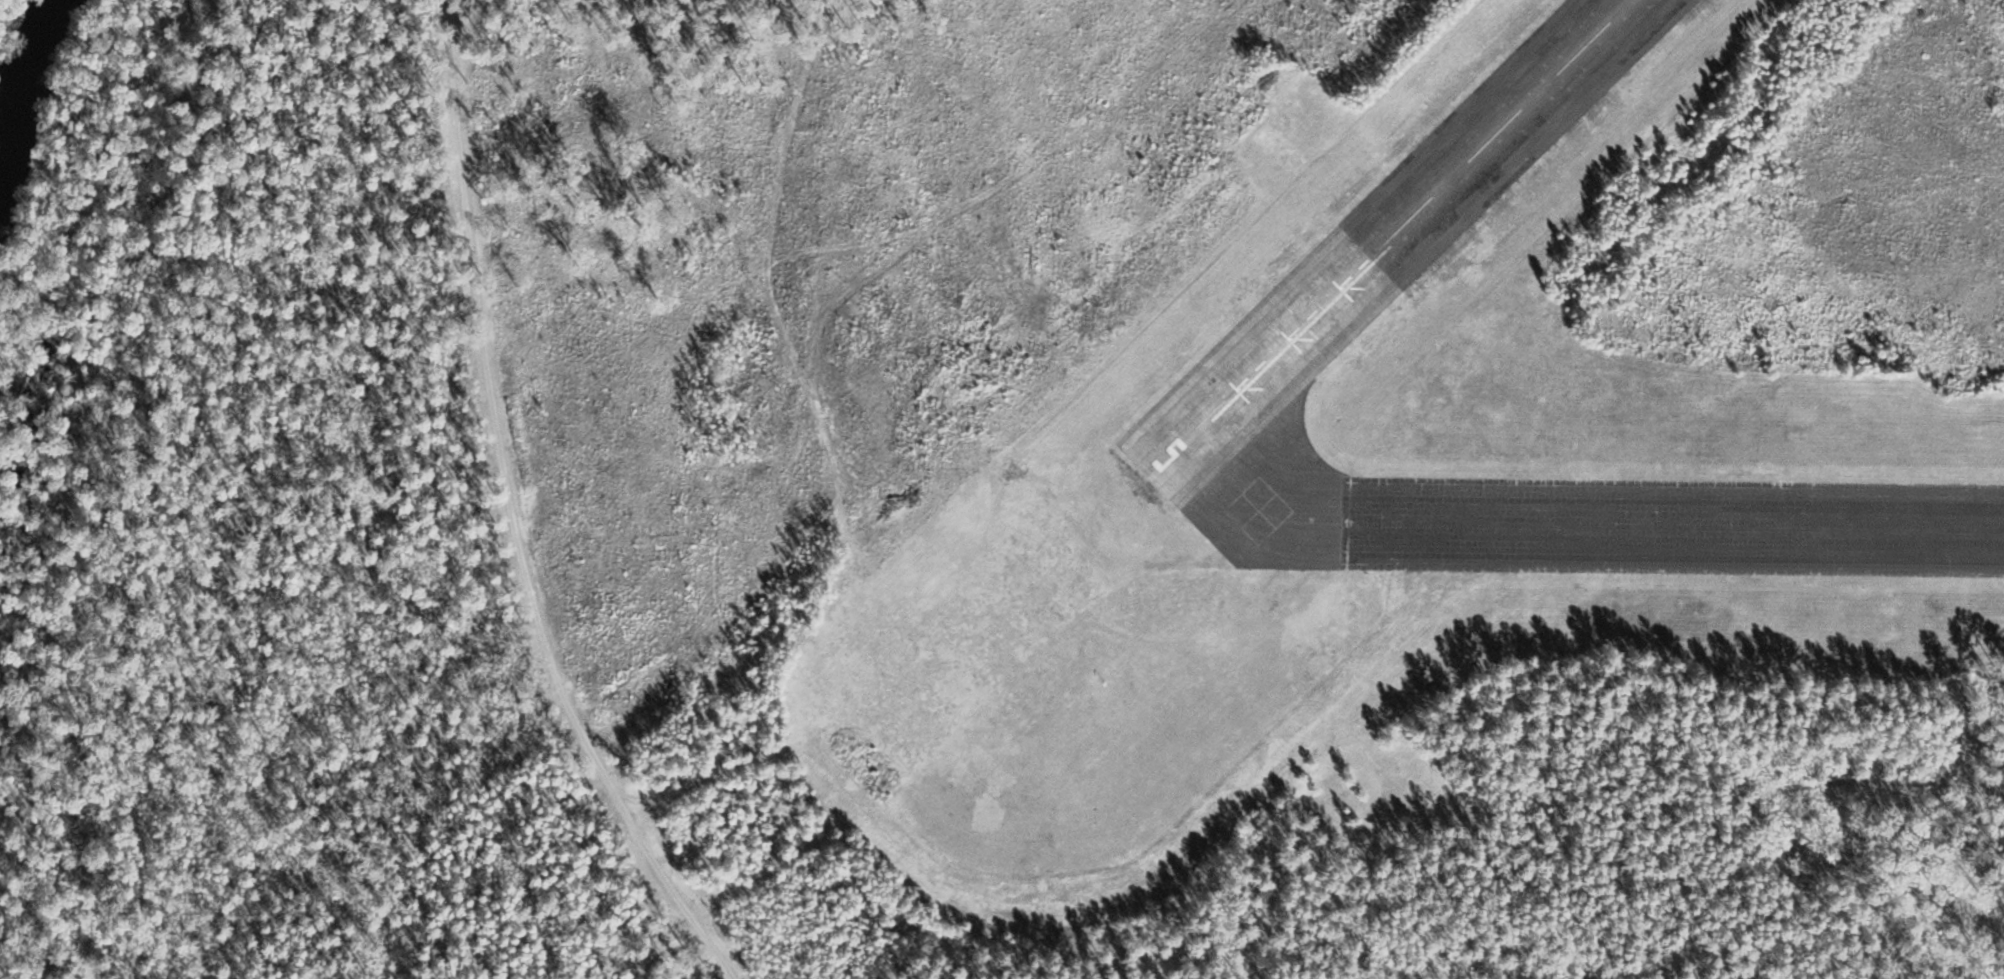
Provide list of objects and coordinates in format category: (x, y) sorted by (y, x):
building: (1609, 31)
river: (31, 82)
airport runway: (1506, 130)
building: (1502, 143)
airport taxiway: (1221, 423)
airport: (1006, 491)
airport runway: (1675, 524)

